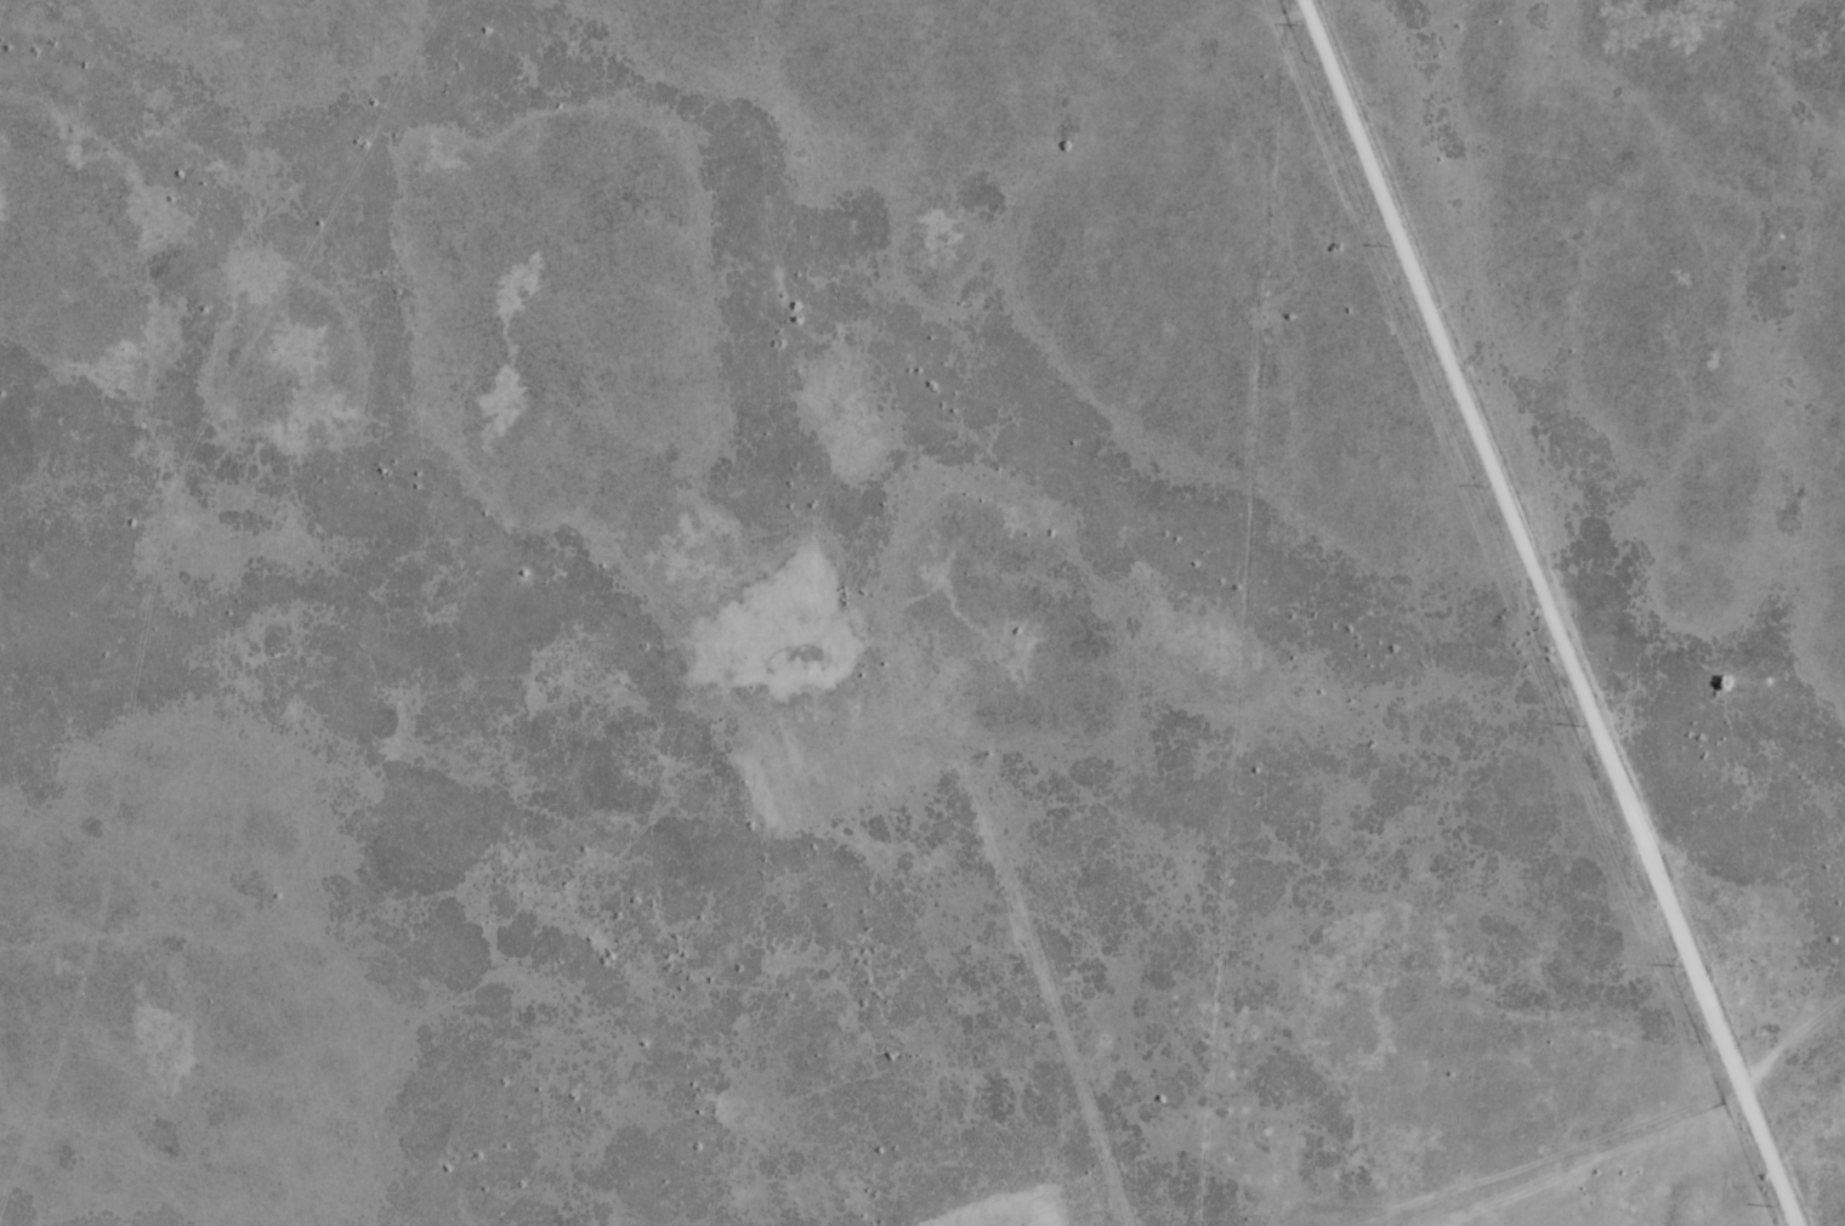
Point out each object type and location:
road: (1563, 613)

